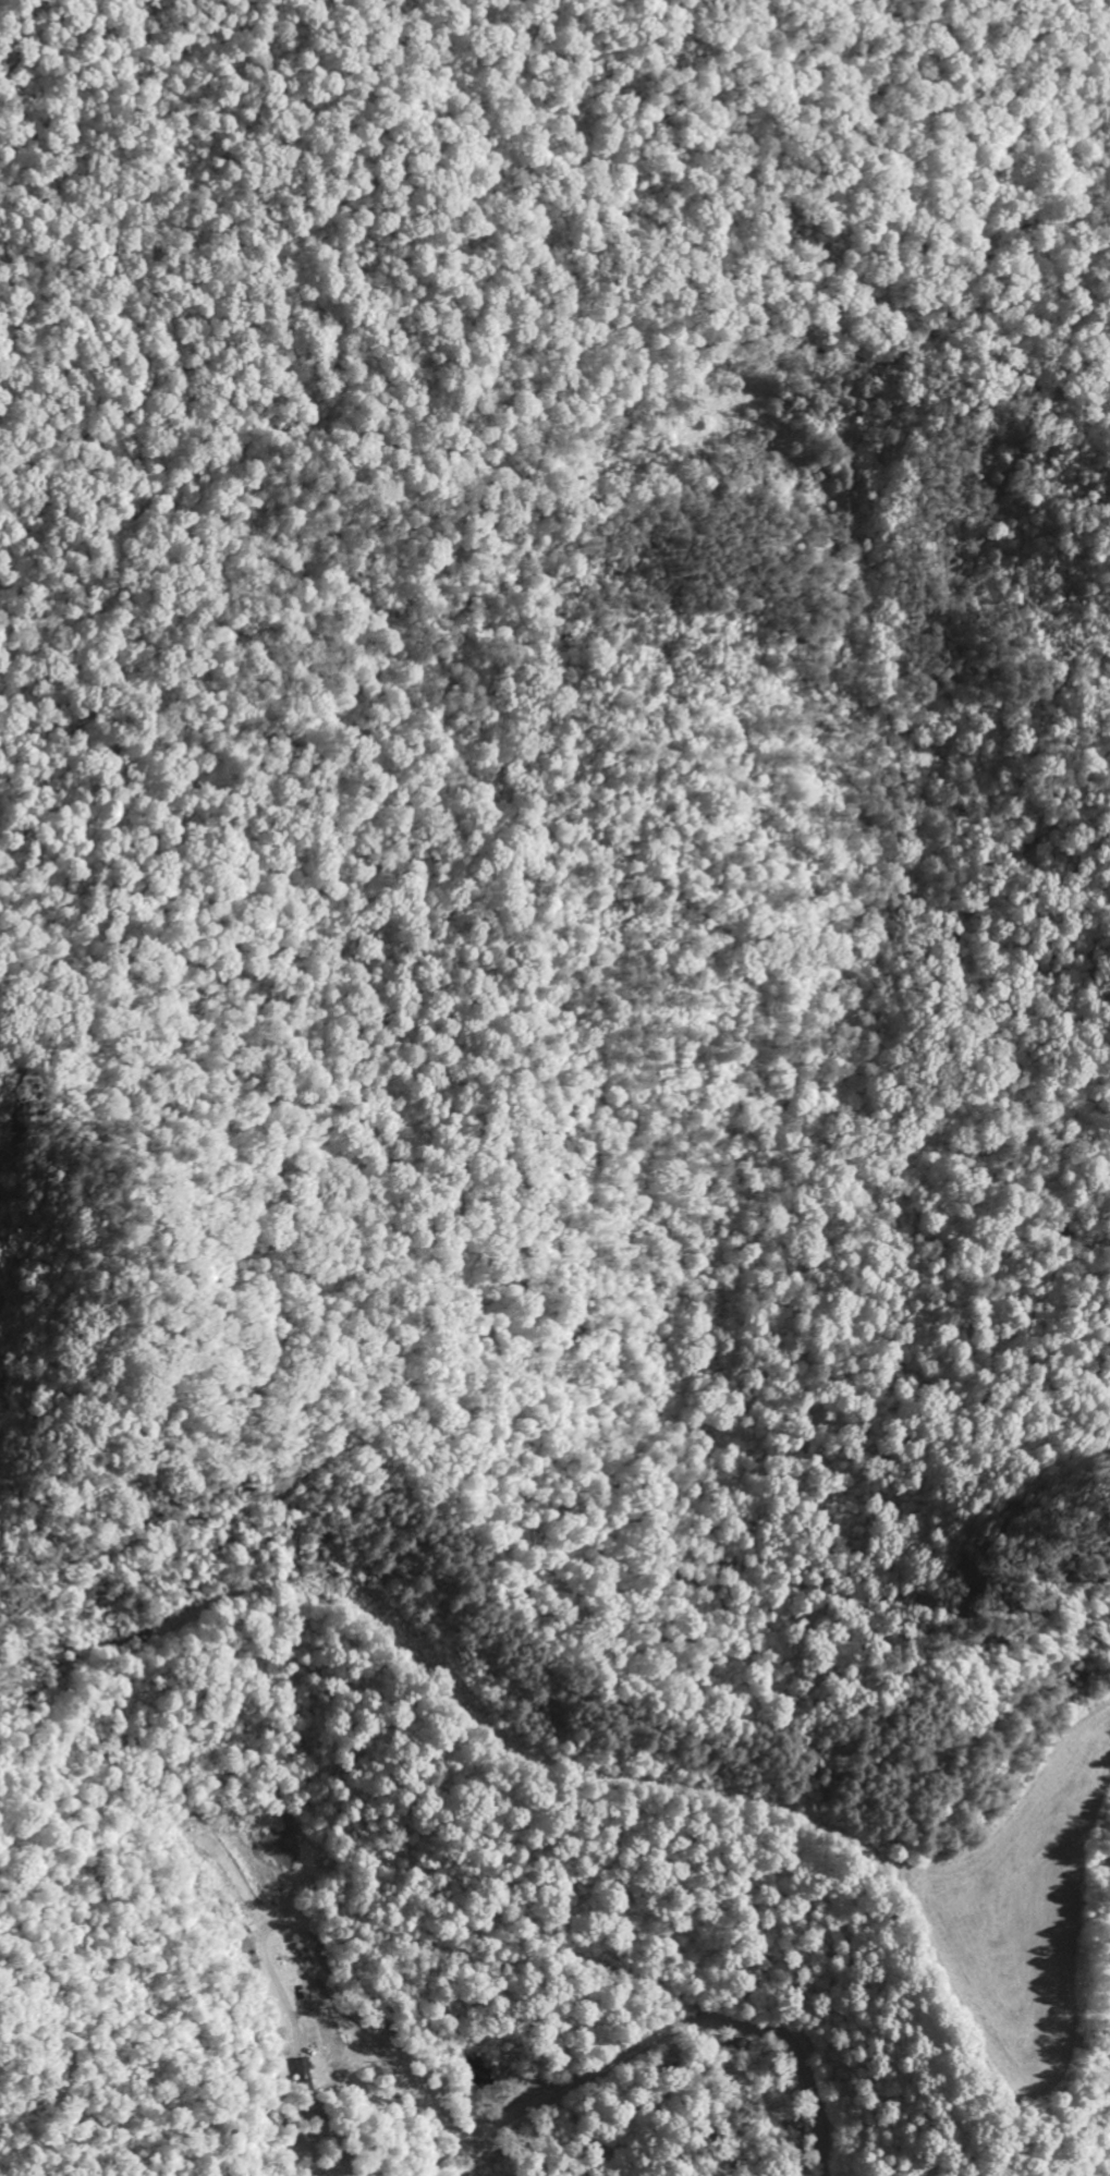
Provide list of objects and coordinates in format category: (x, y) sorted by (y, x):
road: (560, 318)
road: (678, 2028)

